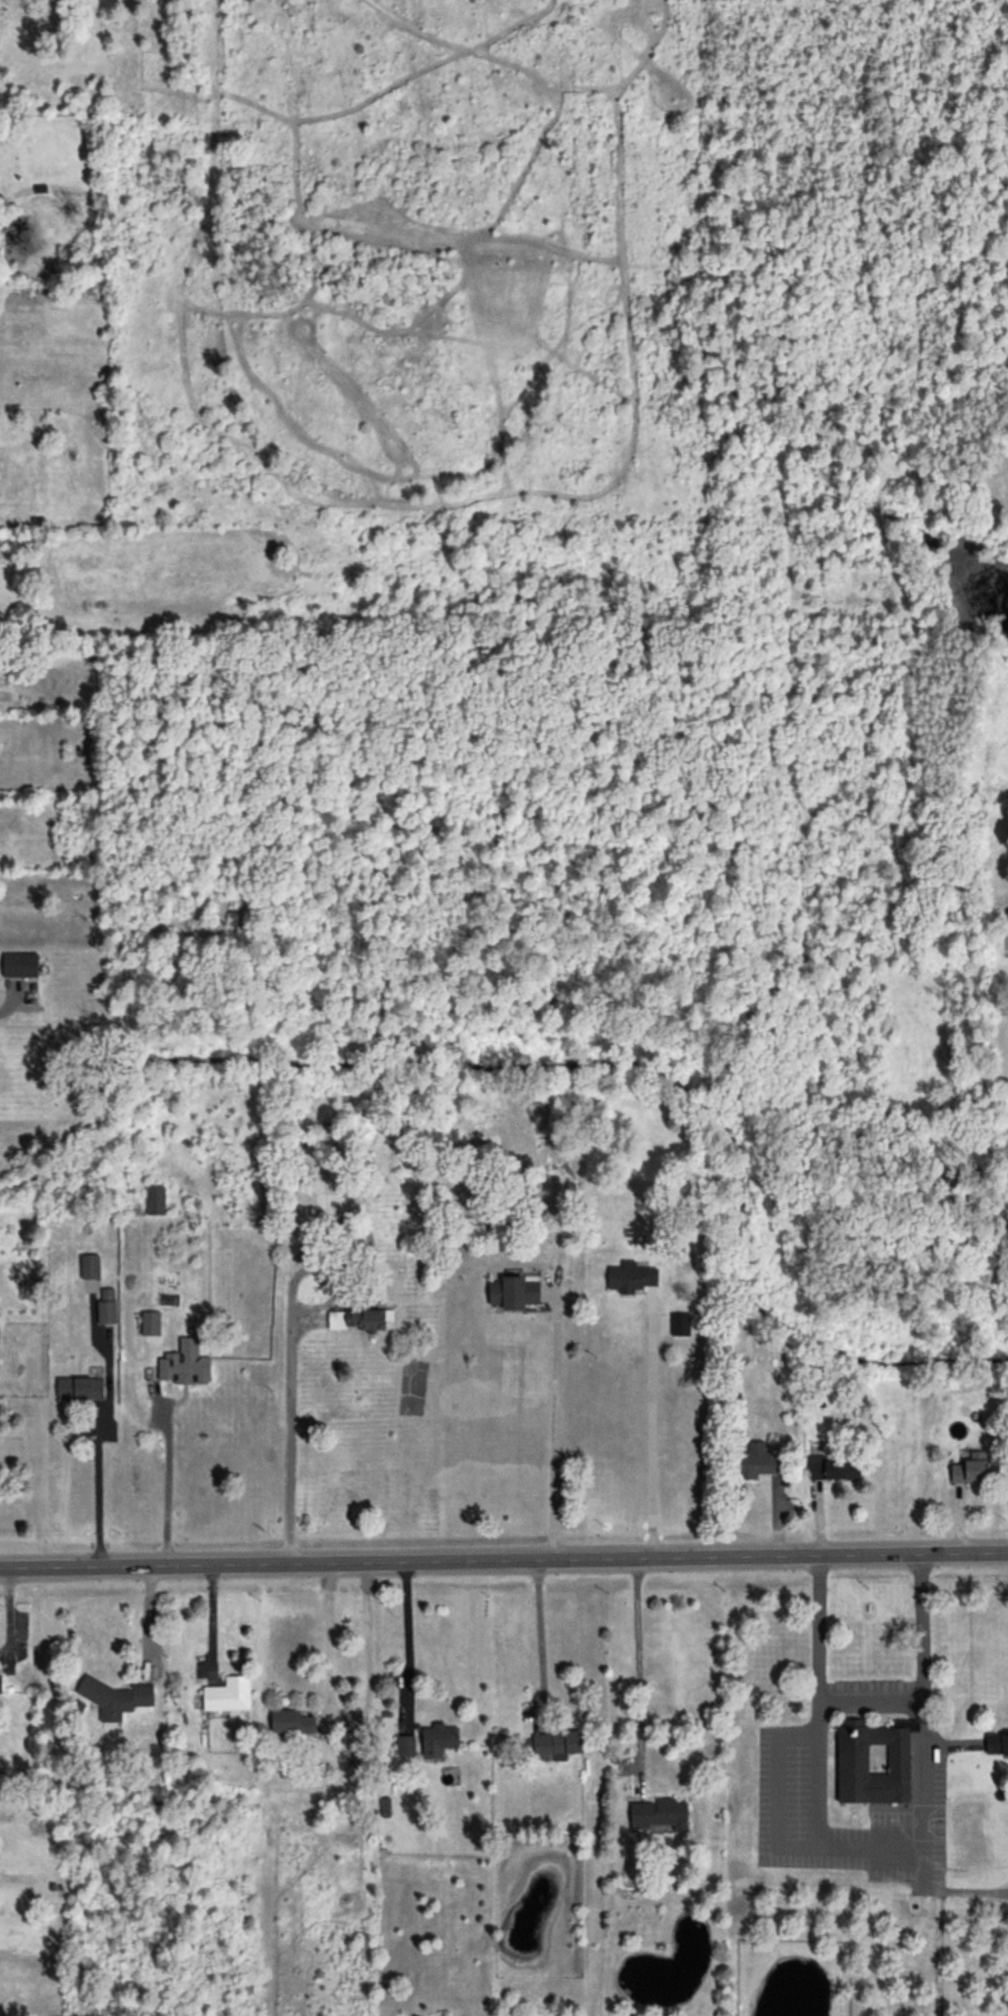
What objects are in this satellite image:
building: (20, 963)
building: (334, 1201)
building: (631, 1277)
building: (520, 1295)
building: (107, 1306)
building: (358, 1319)
road: (291, 1359)
building: (185, 1364)
road: (551, 1429)
road: (649, 1445)
building: (756, 1460)
building: (833, 1468)
road: (166, 1484)
road: (96, 1487)
road: (504, 1559)
road: (10, 1613)
road: (148, 1622)
road: (211, 1622)
road: (406, 1643)
road: (540, 1643)
road: (638, 1671)
building: (0, 1684)
building: (228, 1694)
building: (115, 1697)
road: (870, 1703)
road: (347, 1716)
building: (291, 1721)
building: (438, 1739)
building: (557, 1743)
building: (996, 1743)
building: (405, 1744)
building: (354, 1745)
building: (874, 1761)
road: (777, 1790)
building: (660, 1813)
road: (868, 1845)
road: (941, 1889)
road: (938, 1952)

